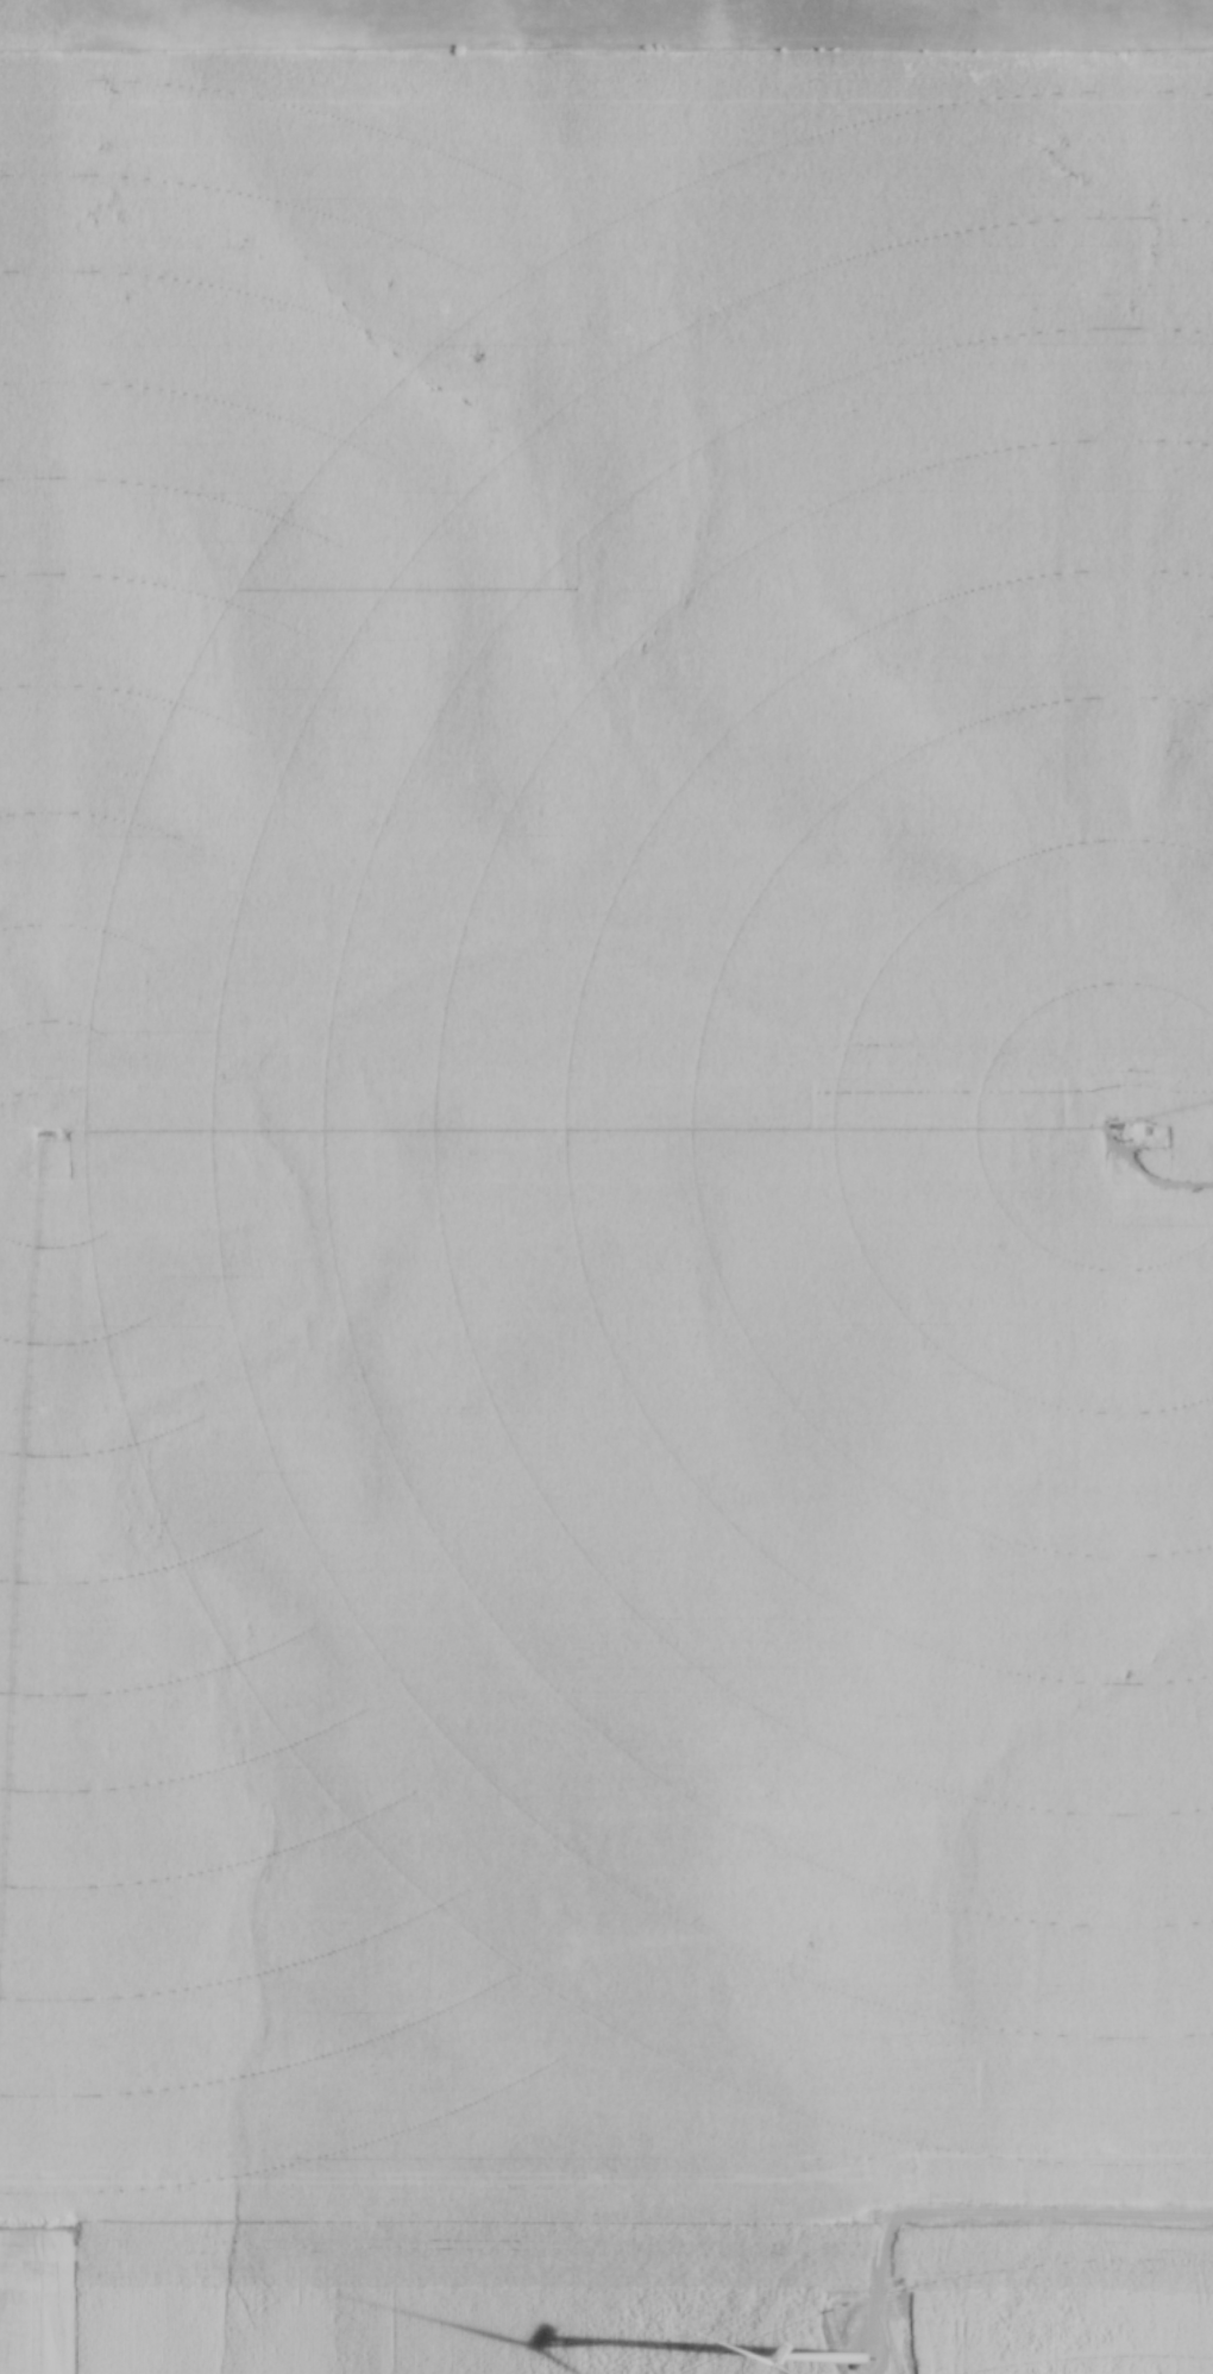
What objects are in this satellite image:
building: (54, 1791)
road: (992, 2211)
wind turbine: (865, 2355)

